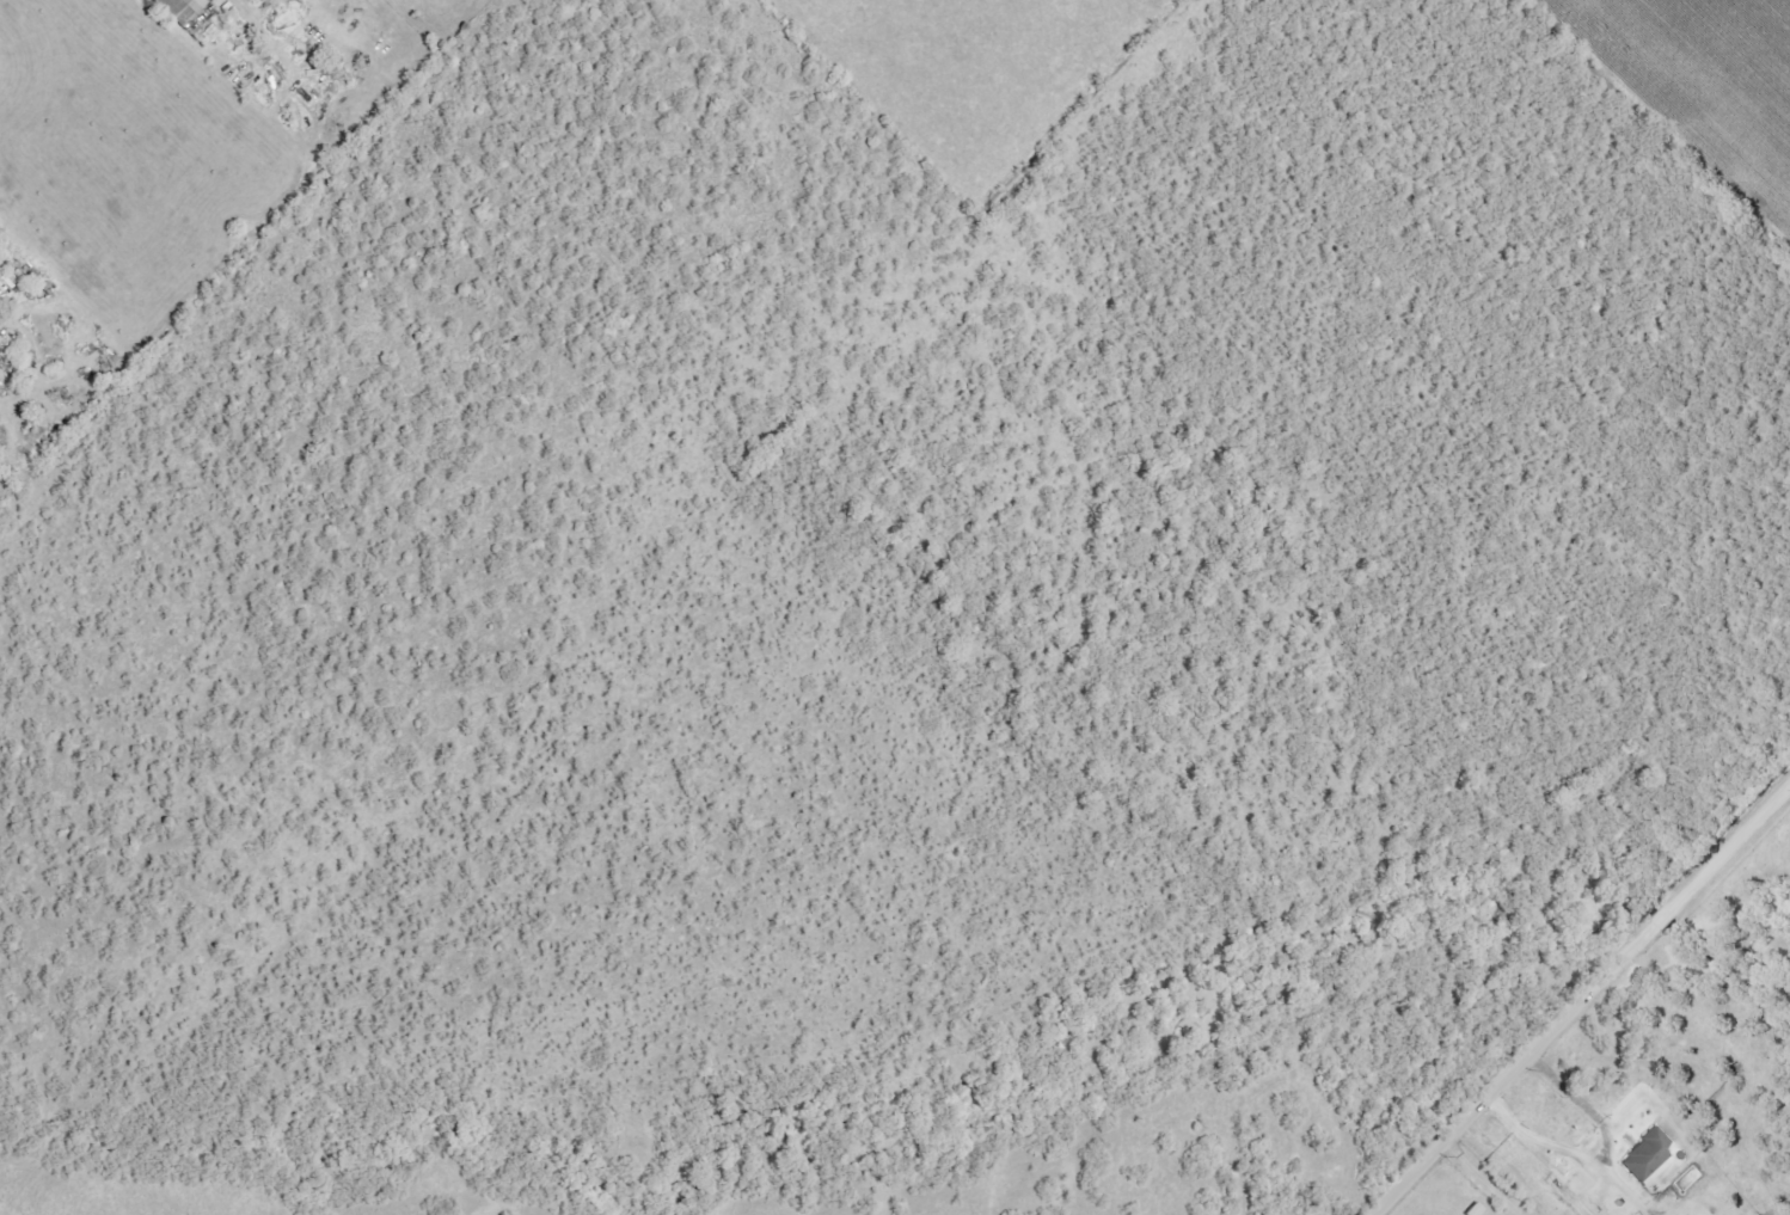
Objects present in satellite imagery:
building: (179, 8)
crop: (980, 69)
crop: (1706, 79)
road: (1580, 1000)
building: (1648, 1156)

